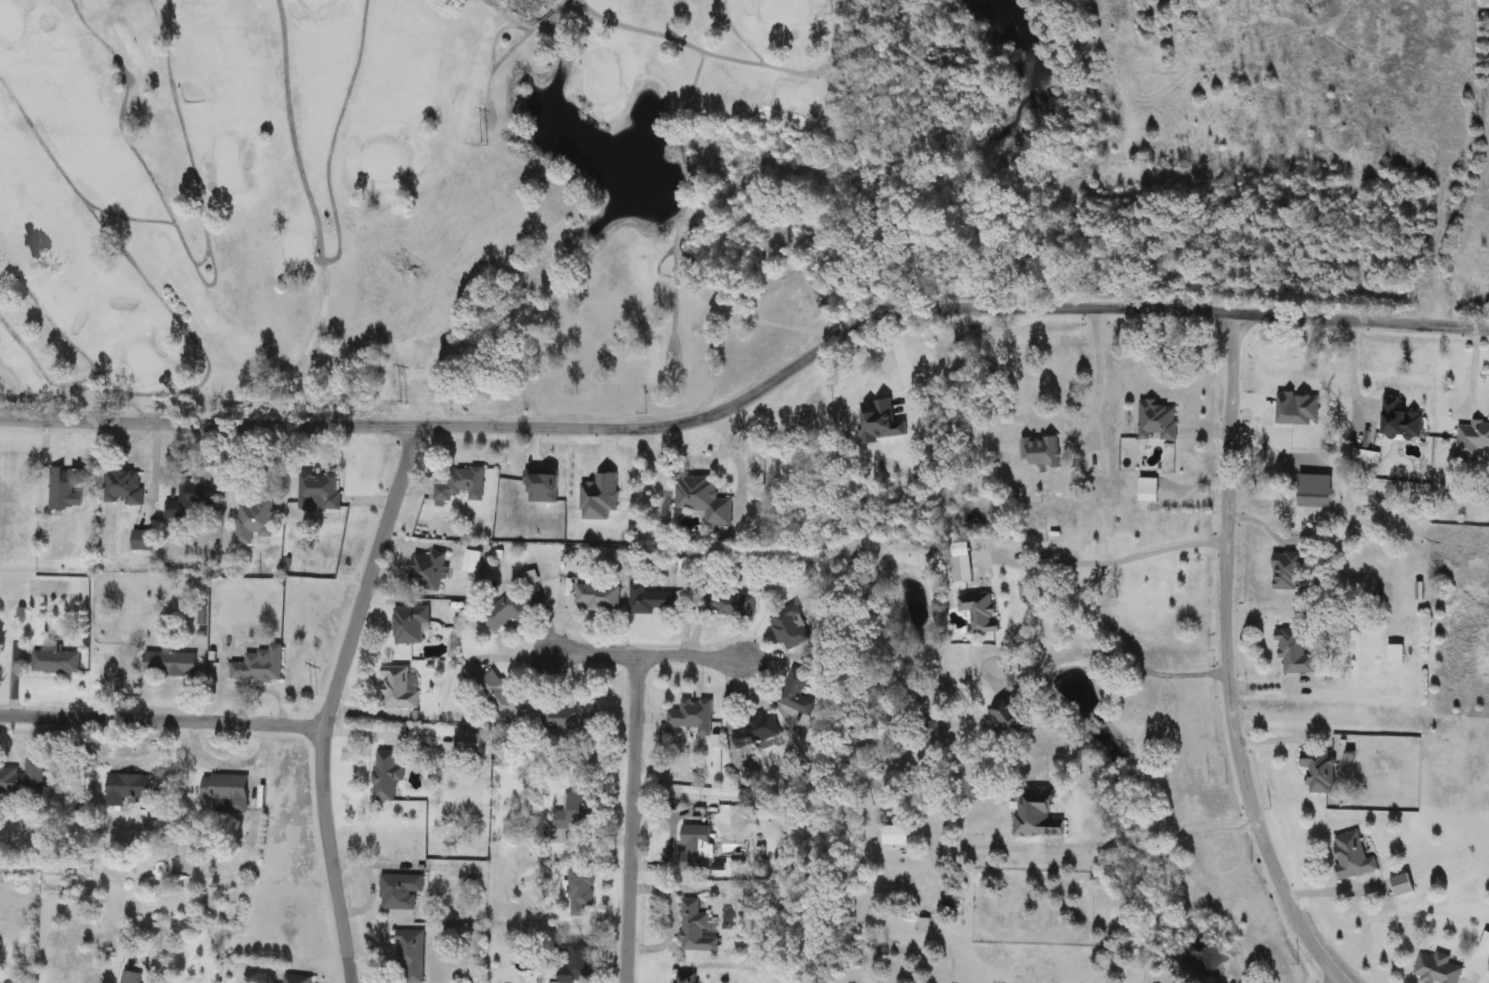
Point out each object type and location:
road: (1351, 371)
road: (1469, 376)
road: (1096, 383)
road: (753, 396)
building: (1158, 421)
building: (1402, 421)
building: (1473, 439)
building: (1041, 451)
building: (1367, 459)
building: (462, 485)
building: (124, 486)
building: (67, 488)
building: (319, 491)
building: (1150, 493)
building: (705, 498)
building: (194, 500)
building: (254, 519)
road: (1103, 559)
building: (963, 567)
building: (1289, 569)
building: (429, 570)
building: (532, 577)
building: (598, 596)
building: (653, 599)
building: (730, 603)
building: (507, 610)
building: (982, 611)
building: (412, 624)
building: (790, 626)
building: (1294, 651)
road: (1118, 653)
building: (1398, 653)
road: (650, 656)
building: (57, 660)
road: (1223, 661)
building: (172, 663)
building: (261, 664)
building: (400, 688)
building: (799, 692)
building: (499, 693)
road: (331, 700)
building: (694, 714)
building: (568, 716)
building: (1012, 718)
road: (162, 720)
building: (757, 729)
building: (471, 741)
building: (1321, 769)
building: (388, 774)
building: (23, 778)
building: (129, 786)
building: (228, 791)
building: (577, 811)
building: (1038, 813)
road: (631, 819)
road: (1144, 834)
building: (897, 835)
building: (697, 846)
building: (1354, 856)
building: (1404, 885)
building: (582, 890)
building: (402, 891)
building: (696, 927)
building: (1487, 943)
building: (412, 954)
building: (577, 961)
building: (1438, 969)
building: (132, 977)
building: (688, 978)
building: (297, 979)
road: (1335, 982)

